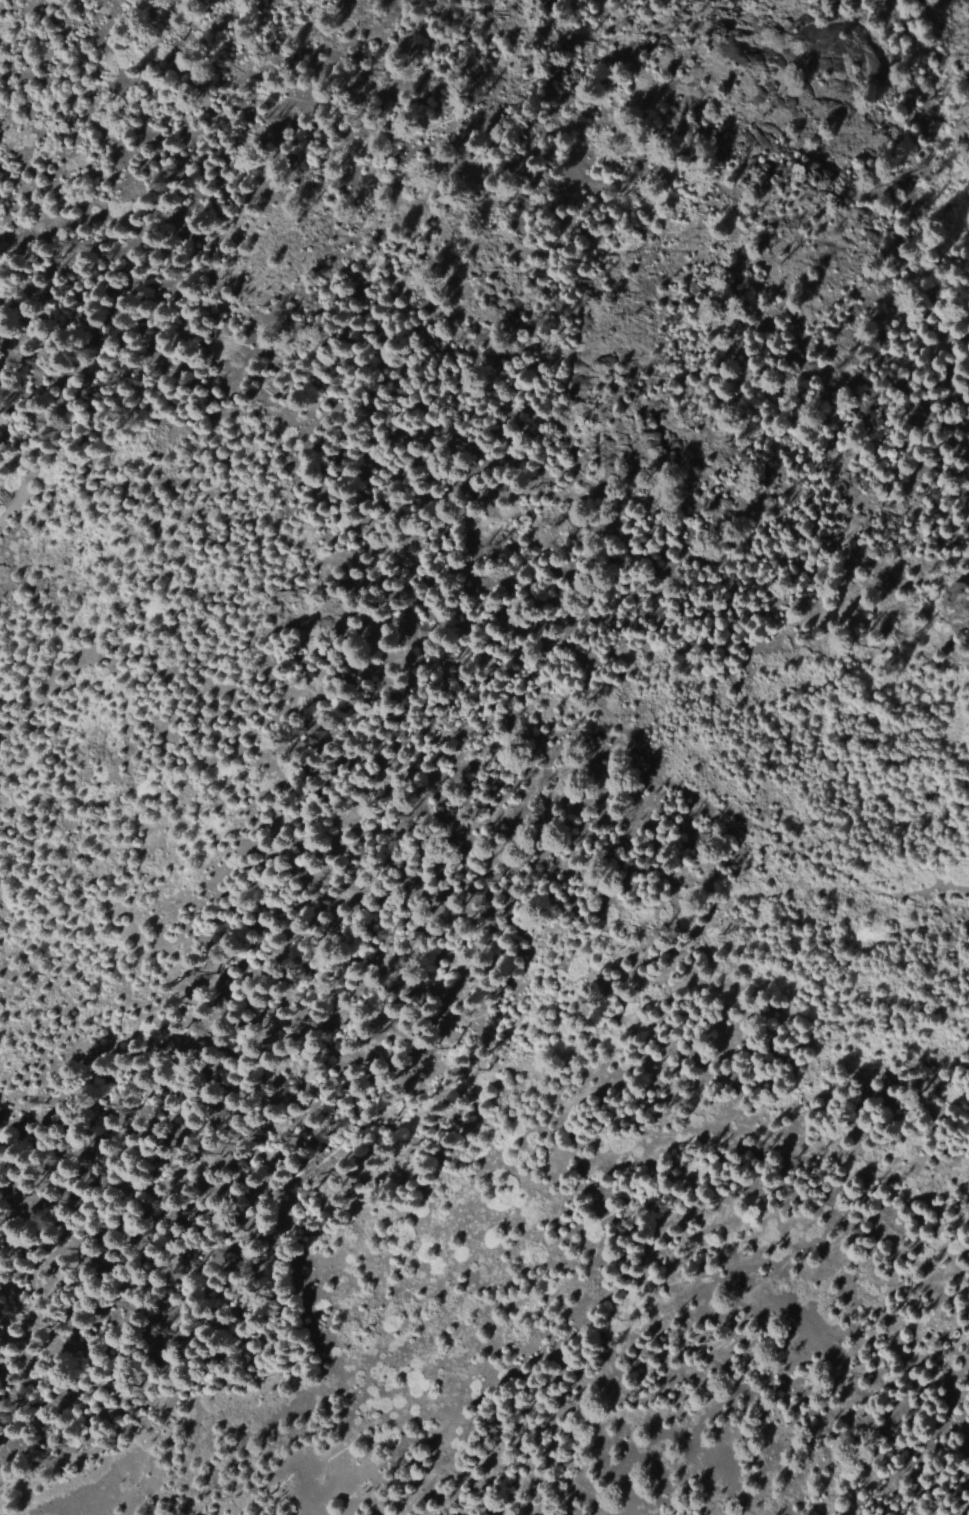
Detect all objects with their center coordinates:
road: (11, 507)
road: (401, 781)
road: (797, 890)
road: (919, 890)

